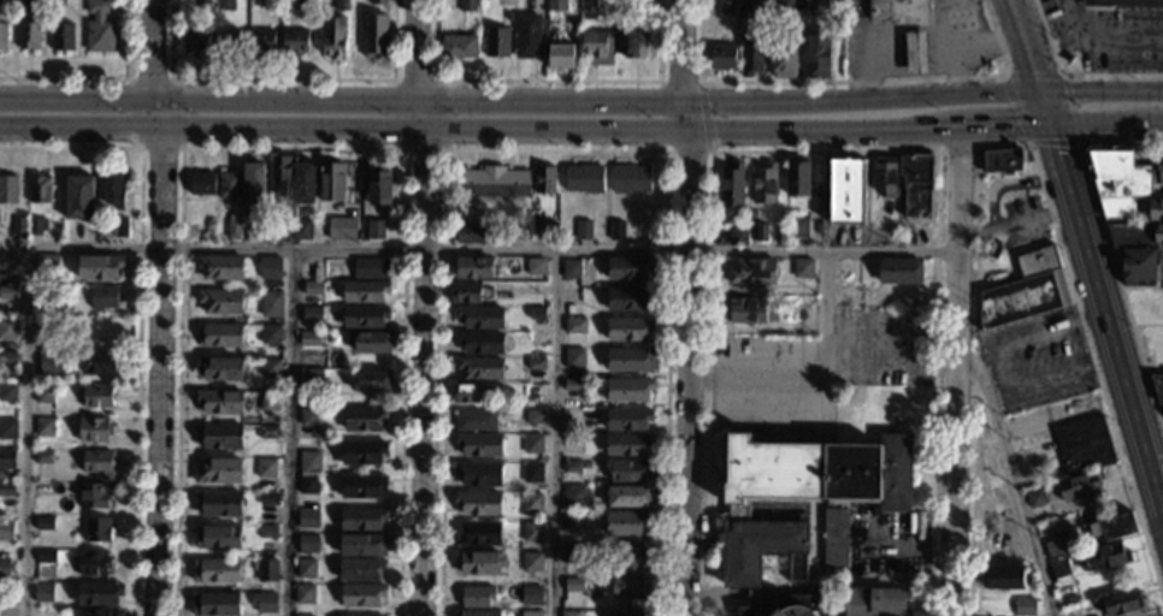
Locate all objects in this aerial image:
building: (273, 1)
building: (377, 1)
building: (1121, 2)
building: (59, 4)
building: (203, 4)
building: (224, 5)
building: (341, 5)
building: (468, 5)
building: (556, 5)
building: (630, 5)
building: (24, 6)
building: (306, 6)
building: (588, 6)
building: (745, 6)
building: (783, 6)
building: (815, 6)
building: (727, 7)
building: (899, 11)
building: (837, 17)
road: (973, 24)
building: (99, 26)
building: (2, 35)
building: (29, 35)
building: (527, 35)
road: (914, 35)
building: (63, 36)
building: (332, 36)
building: (376, 36)
building: (196, 41)
building: (228, 41)
building: (262, 41)
building: (294, 41)
building: (496, 41)
building: (626, 41)
road: (1102, 41)
building: (592, 43)
road: (987, 45)
building: (460, 46)
building: (751, 52)
building: (817, 53)
building: (561, 54)
building: (721, 57)
building: (917, 57)
building: (785, 58)
road: (1057, 75)
road: (1073, 75)
road: (102, 76)
road: (169, 77)
road: (282, 78)
road: (394, 79)
road: (547, 79)
road: (849, 82)
traffic signals: (1040, 93)
road: (581, 102)
road: (703, 115)
road: (659, 117)
road: (581, 126)
traffic signals: (1051, 129)
road: (1005, 144)
road: (957, 148)
road: (293, 149)
road: (555, 150)
road: (825, 152)
building: (1002, 160)
building: (1159, 172)
building: (281, 174)
building: (884, 177)
building: (584, 178)
building: (630, 178)
building: (795, 178)
building: (543, 179)
building: (1116, 180)
building: (331, 182)
building: (491, 182)
building: (253, 183)
building: (303, 183)
road: (1008, 183)
building: (200, 184)
building: (378, 185)
building: (762, 185)
building: (915, 185)
building: (228, 186)
building: (731, 188)
building: (8, 190)
building: (39, 190)
building: (113, 191)
building: (845, 192)
building: (78, 199)
building: (1155, 211)
road: (1014, 223)
building: (18, 226)
building: (36, 226)
building: (232, 227)
building: (119, 229)
building: (797, 229)
building: (301, 230)
building: (340, 230)
building: (583, 230)
building: (254, 231)
building: (279, 231)
building: (374, 231)
building: (547, 231)
building: (616, 231)
building: (470, 233)
building: (758, 233)
building: (1135, 236)
building: (736, 237)
road: (477, 249)
road: (1109, 249)
building: (991, 250)
road: (1087, 257)
building: (7, 262)
building: (46, 266)
building: (99, 267)
building: (271, 267)
building: (536, 267)
building: (220, 268)
building: (471, 268)
building: (627, 268)
building: (801, 268)
building: (1137, 268)
building: (370, 269)
building: (571, 269)
building: (751, 272)
building: (899, 272)
building: (848, 285)
building: (312, 289)
road: (825, 291)
building: (1025, 291)
building: (364, 292)
building: (7, 294)
building: (471, 294)
building: (102, 297)
building: (628, 298)
building: (219, 302)
building: (271, 304)
building: (52, 307)
road: (158, 307)
road: (424, 307)
road: (684, 307)
building: (1147, 307)
road: (137, 310)
building: (744, 312)
building: (309, 313)
building: (536, 314)
building: (362, 318)
building: (480, 319)
building: (7, 325)
building: (574, 326)
building: (47, 327)
building: (627, 328)
building: (222, 336)
building: (270, 336)
building: (309, 339)
building: (536, 340)
building: (368, 342)
building: (479, 343)
building: (7, 359)
building: (573, 359)
parking lot: (1035, 359)
building: (628, 361)
building: (99, 362)
building: (48, 363)
building: (535, 365)
building: (270, 368)
building: (478, 368)
road: (997, 368)
building: (220, 369)
road: (952, 372)
parking lot: (813, 373)
building: (311, 380)
building: (372, 381)
building: (571, 386)
building: (627, 390)
building: (1158, 390)
building: (7, 393)
building: (43, 393)
building: (464, 395)
building: (531, 395)
building: (96, 396)
building: (268, 401)
building: (220, 402)
building: (533, 416)
building: (308, 419)
building: (362, 420)
building: (627, 420)
building: (474, 421)
building: (45, 427)
building: (7, 430)
building: (93, 430)
road: (23, 432)
road: (293, 432)
road: (553, 432)
building: (267, 433)
building: (220, 438)
building: (478, 445)
building: (531, 445)
building: (626, 445)
building: (1082, 446)
building: (361, 452)
building: (42, 457)
building: (6, 458)
building: (95, 462)
building: (308, 462)
building: (586, 466)
building: (571, 468)
building: (265, 469)
building: (218, 472)
building: (627, 472)
building: (532, 473)
building: (478, 474)
road: (1011, 476)
building: (307, 485)
building: (362, 487)
building: (1076, 487)
building: (5, 490)
building: (91, 496)
building: (572, 496)
building: (628, 497)
building: (1035, 498)
building: (267, 500)
building: (532, 503)
building: (218, 504)
building: (477, 504)
building: (360, 519)
building: (834, 519)
building: (307, 520)
building: (571, 521)
building: (43, 523)
building: (626, 523)
building: (94, 529)
building: (1108, 529)
building: (6, 532)
building: (267, 532)
building: (531, 533)
building: (478, 534)
building: (218, 538)
building: (306, 545)
building: (361, 545)
building: (1055, 550)
building: (571, 553)
building: (45, 557)
building: (1102, 558)
building: (631, 559)
building: (478, 562)
building: (90, 563)
building: (530, 563)
building: (4, 567)
building: (305, 569)
building: (1058, 569)
building: (266, 570)
building: (359, 570)
building: (216, 571)
building: (1002, 579)
building: (588, 585)
building: (573, 586)
building: (628, 588)
building: (42, 593)
building: (98, 593)
building: (303, 594)
building: (530, 596)
building: (360, 597)
building: (476, 597)
building: (5, 598)
building: (872, 602)
building: (264, 603)
building: (1117, 604)
building: (214, 605)
building: (784, 608)
building: (1025, 608)
building: (47, 612)
building: (101, 612)
building: (474, 614)
building: (530, 614)
building: (568, 614)
building: (627, 614)
building: (303, 615)
building: (361, 615)

